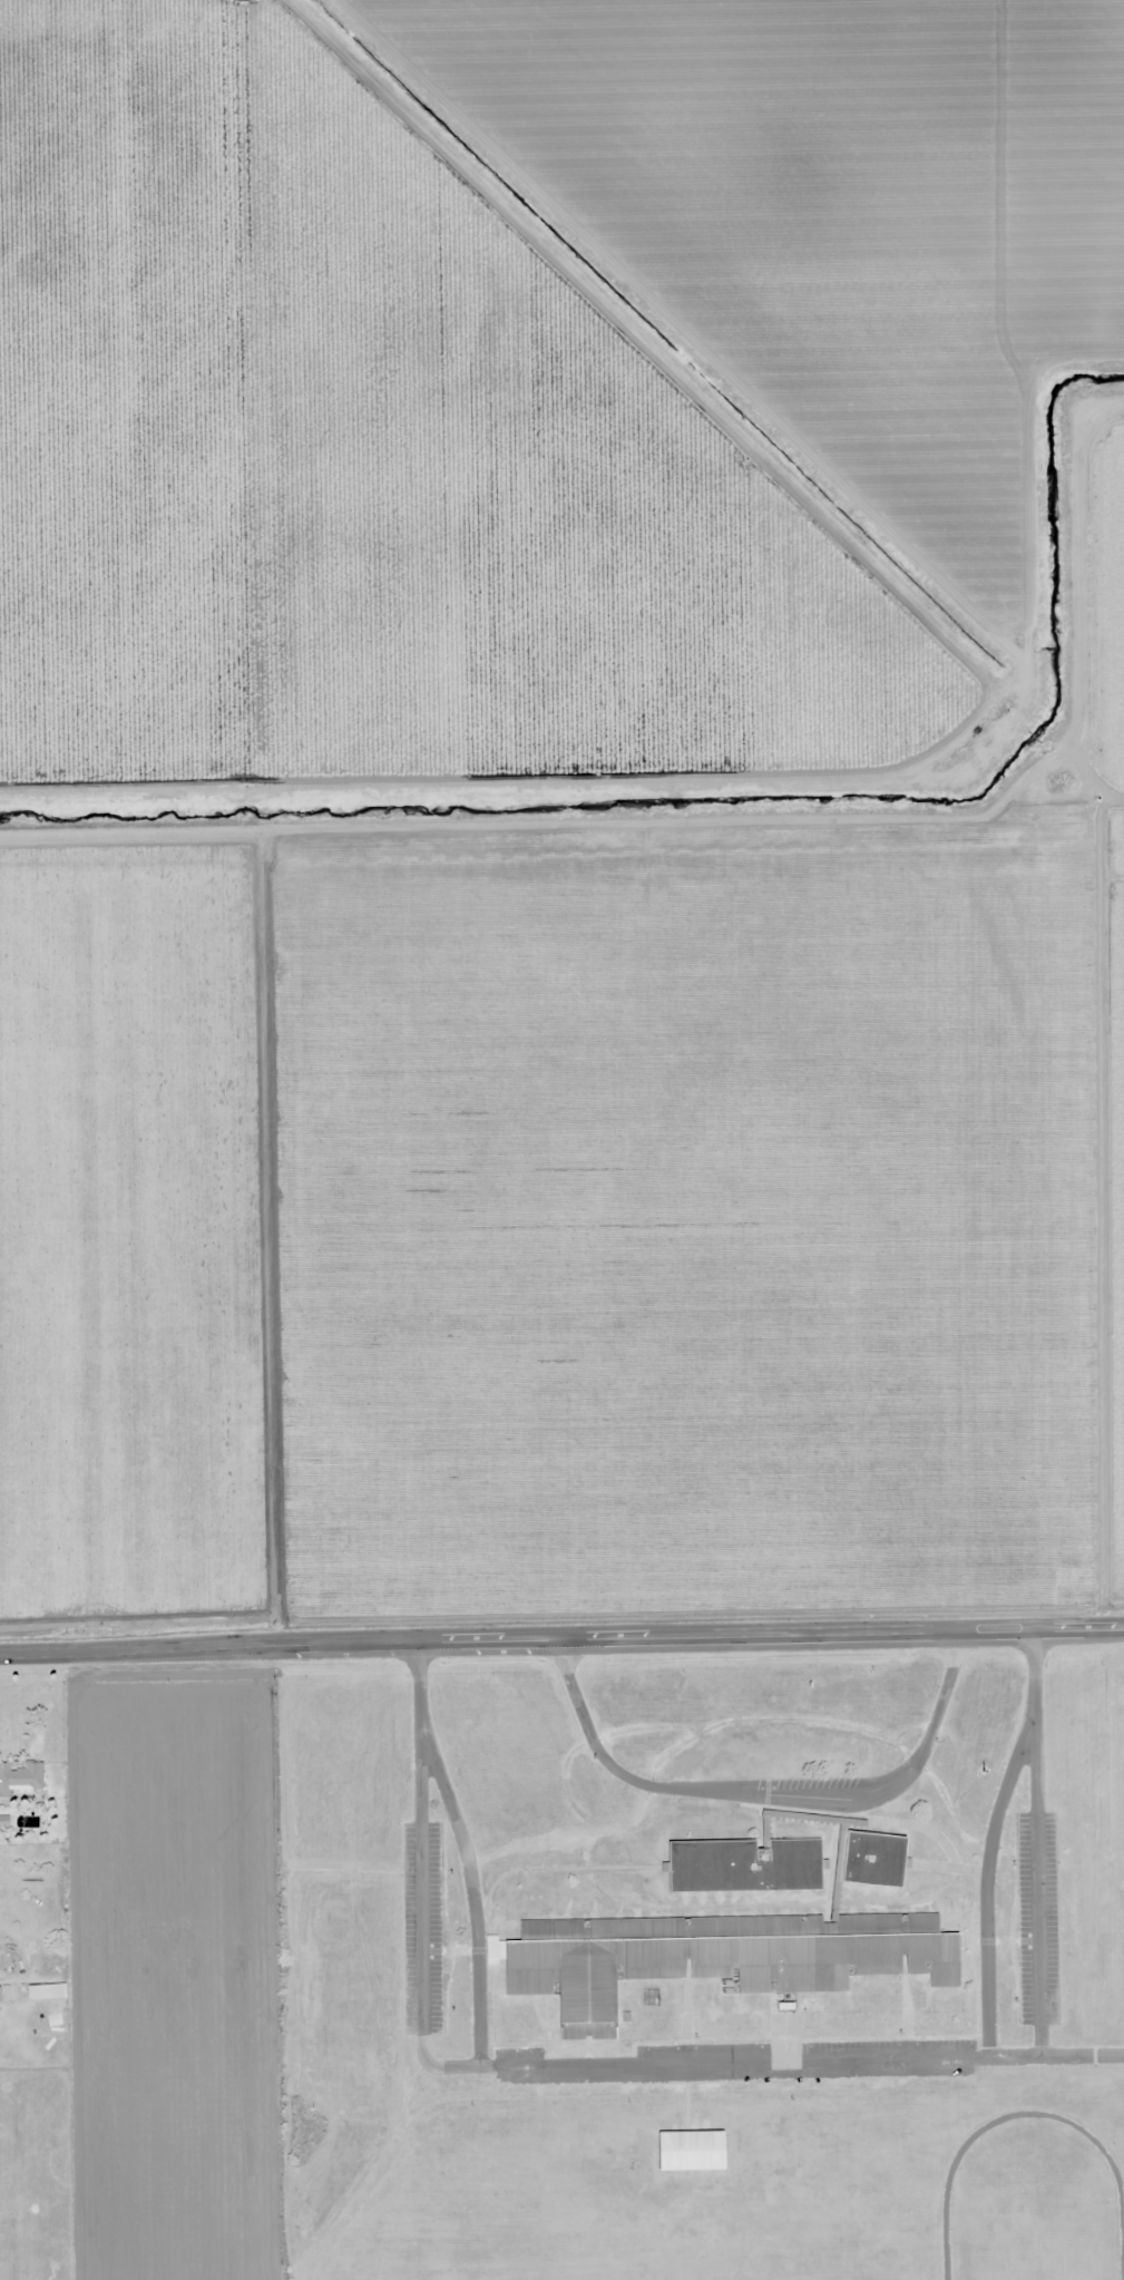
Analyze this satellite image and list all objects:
railway: (1121, 137)
road: (561, 1655)
building: (21, 1775)
building: (873, 1859)
building: (746, 1863)
building: (717, 1958)
building: (46, 1991)
road: (1050, 2056)
building: (693, 2151)

